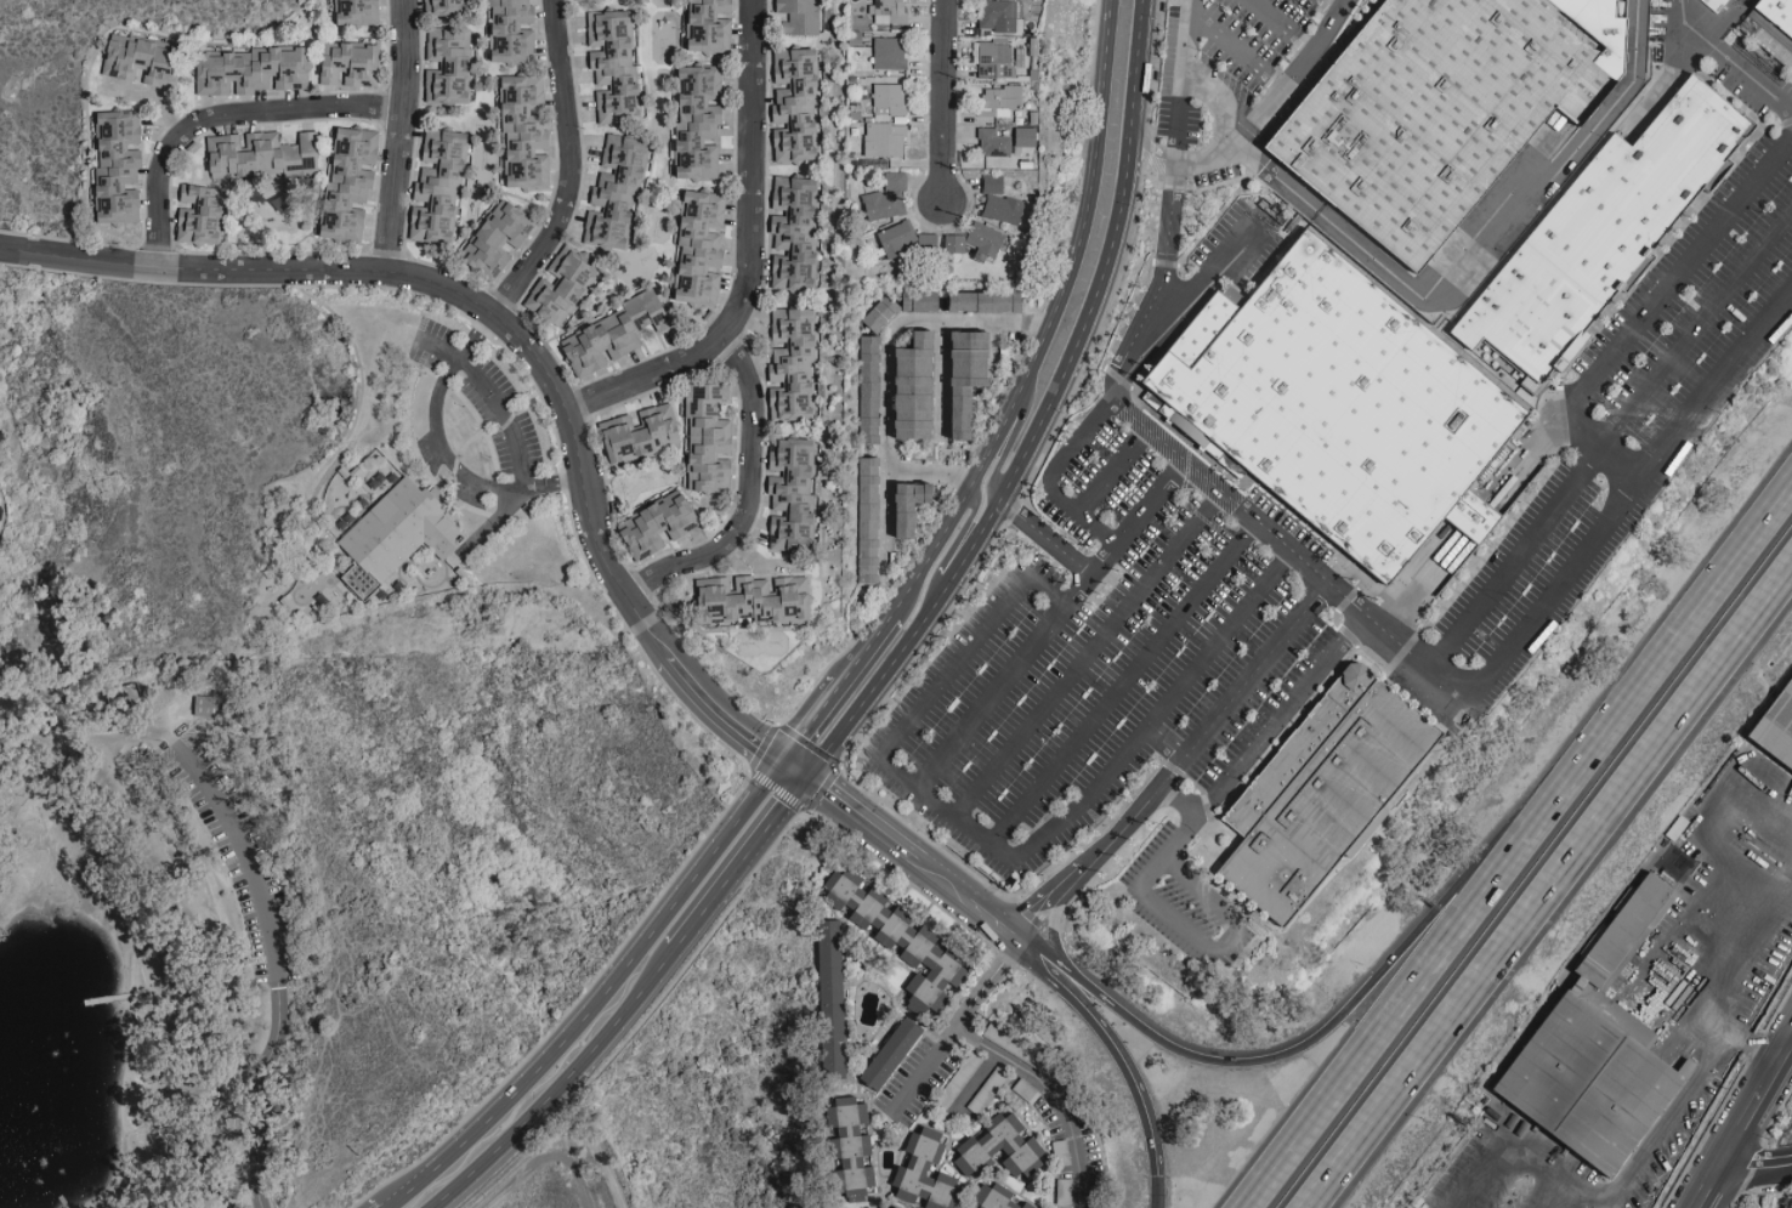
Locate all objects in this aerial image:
building: (1714, 4)
building: (446, 6)
road: (1329, 6)
building: (889, 11)
building: (358, 12)
building: (998, 15)
building: (1775, 15)
building: (801, 16)
building: (709, 25)
road: (1282, 25)
building: (512, 32)
road: (1183, 34)
road: (1235, 46)
building: (889, 52)
building: (993, 58)
building: (143, 59)
building: (351, 63)
building: (449, 66)
building: (614, 66)
building: (253, 69)
road: (1136, 72)
road: (1101, 74)
road: (1294, 74)
road: (1754, 81)
building: (890, 98)
building: (999, 101)
road: (155, 102)
road: (941, 103)
building: (795, 104)
building: (1424, 109)
road: (1176, 115)
building: (699, 121)
road: (1232, 127)
road: (226, 130)
building: (524, 132)
building: (885, 140)
road: (407, 142)
building: (993, 142)
building: (262, 154)
road: (1150, 154)
building: (118, 166)
road: (575, 174)
building: (351, 182)
building: (992, 185)
building: (440, 187)
building: (617, 191)
building: (888, 197)
building: (1003, 209)
building: (202, 215)
building: (1600, 225)
building: (795, 232)
building: (499, 238)
building: (908, 240)
building: (986, 240)
building: (954, 243)
road: (1469, 244)
building: (701, 248)
road: (756, 263)
road: (1678, 276)
road: (1213, 279)
road: (1161, 285)
building: (563, 287)
building: (920, 301)
building: (987, 301)
road: (472, 310)
building: (880, 313)
building: (614, 334)
road: (471, 339)
road: (436, 347)
building: (793, 365)
road: (943, 378)
building: (971, 378)
building: (917, 387)
building: (869, 389)
road: (1016, 390)
road: (885, 397)
building: (1336, 404)
road: (504, 416)
building: (641, 433)
building: (708, 439)
road: (1609, 441)
road: (1010, 442)
road: (1603, 447)
road: (441, 448)
road: (1111, 470)
road: (928, 475)
road: (1049, 476)
road: (1010, 480)
road: (555, 484)
building: (792, 493)
road: (1628, 495)
building: (914, 506)
road: (756, 507)
building: (869, 520)
building: (658, 523)
building: (396, 534)
road: (1045, 537)
road: (955, 544)
road: (1287, 549)
building: (753, 599)
road: (1688, 620)
road: (1050, 624)
road: (864, 646)
parking lot: (1117, 647)
road: (1089, 656)
road: (1122, 682)
building: (206, 705)
road: (809, 716)
road: (147, 730)
road: (747, 730)
building: (1779, 731)
road: (1247, 750)
road: (793, 764)
road: (1176, 765)
building: (1316, 793)
road: (1179, 799)
park: (276, 800)
road: (1718, 812)
road: (775, 818)
building: (1362, 841)
road: (999, 851)
road: (915, 858)
parking lot: (239, 860)
road: (211, 883)
road: (171, 886)
road: (1552, 891)
road: (1788, 894)
road: (709, 906)
road: (1672, 924)
road: (1227, 937)
building: (902, 940)
road: (1717, 958)
road: (277, 964)
building: (1666, 969)
road: (616, 981)
road: (1416, 982)
pier: (108, 999)
building: (833, 1000)
road: (1338, 1021)
road: (1115, 1045)
building: (892, 1054)
building: (1598, 1055)
road: (1773, 1060)
road: (1009, 1061)
road: (924, 1071)
road: (562, 1089)
road: (1684, 1102)
road: (1736, 1127)
road: (1502, 1139)
building: (1000, 1146)
road: (1754, 1170)
building: (925, 1172)
road: (1702, 1185)
road: (1159, 1192)
road: (1592, 1192)
road: (401, 1195)
road: (1560, 1195)
building: (998, 1197)
building: (890, 1206)

